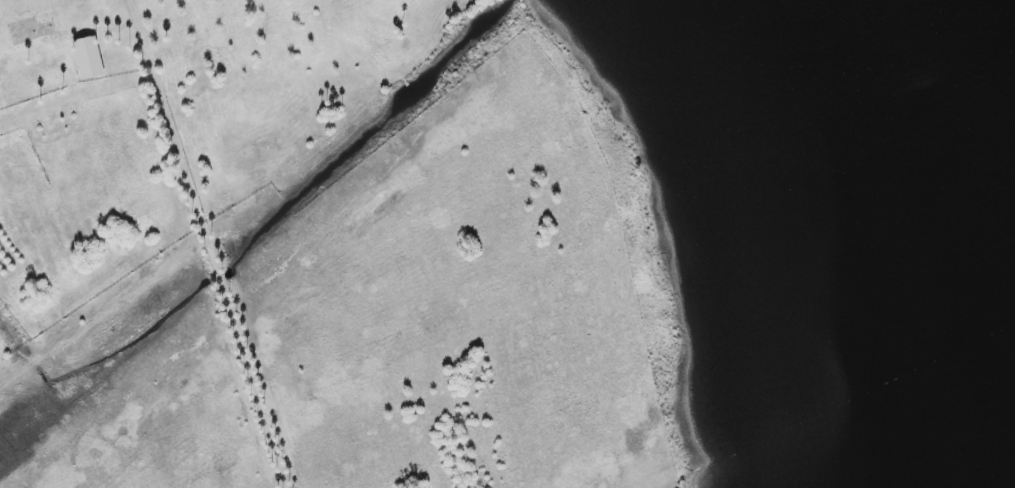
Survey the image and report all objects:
building: (89, 58)

